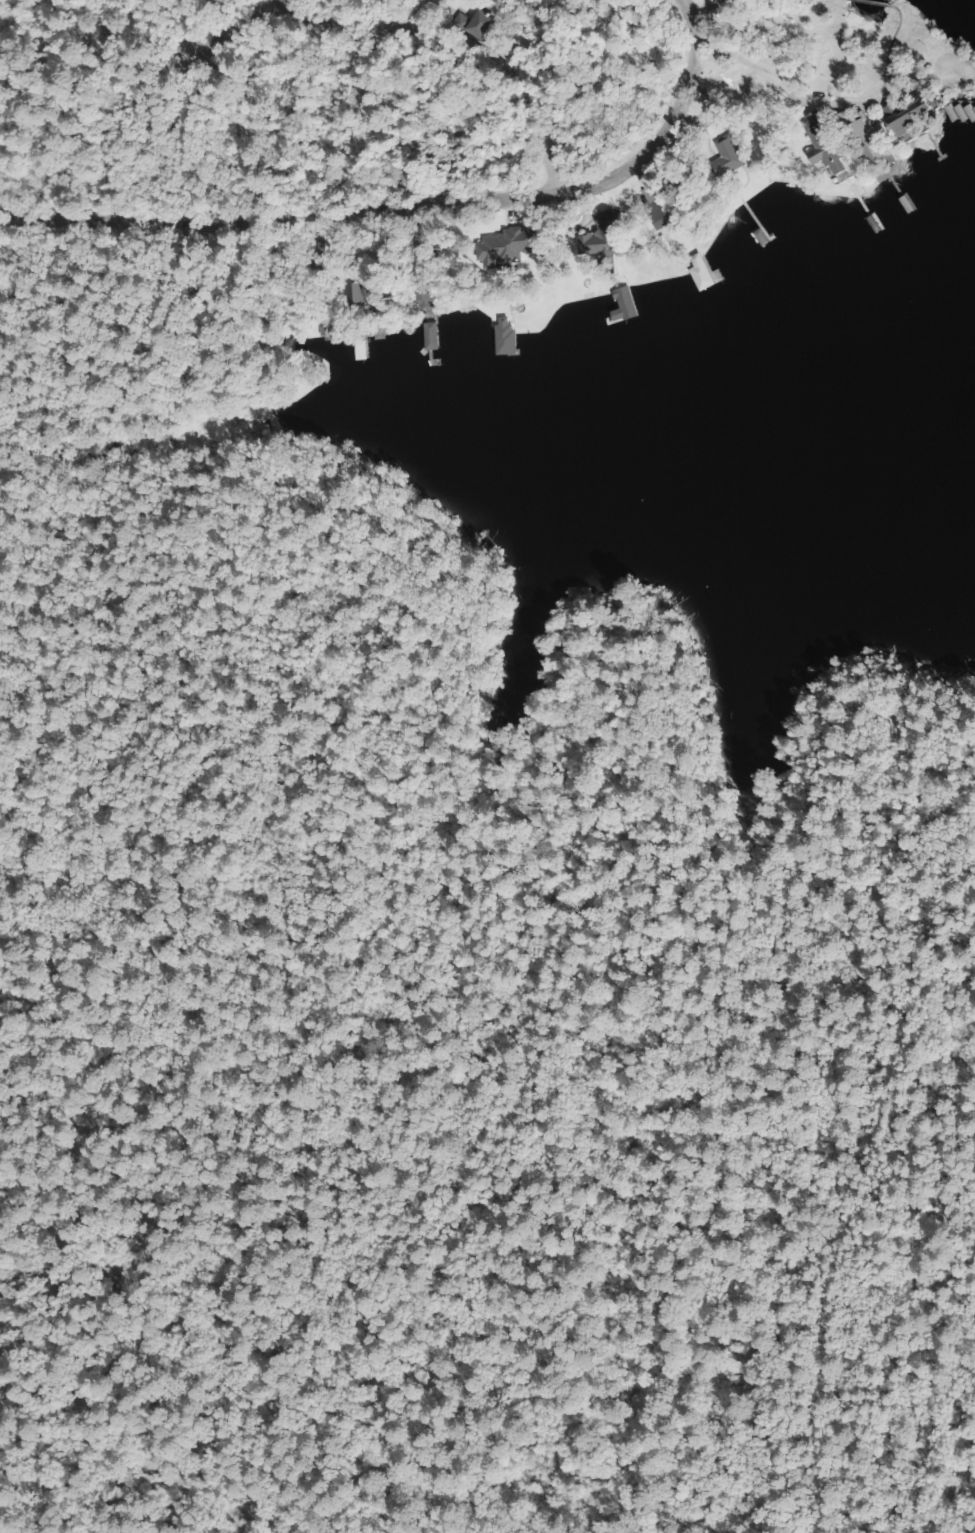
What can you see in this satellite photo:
building: (701, 0)
building: (472, 25)
road: (532, 72)
building: (909, 121)
road: (388, 136)
building: (864, 141)
building: (821, 145)
building: (724, 159)
building: (653, 208)
building: (599, 236)
building: (499, 248)
building: (421, 249)
building: (421, 293)
building: (356, 298)
building: (622, 304)
building: (427, 337)
building: (502, 338)

